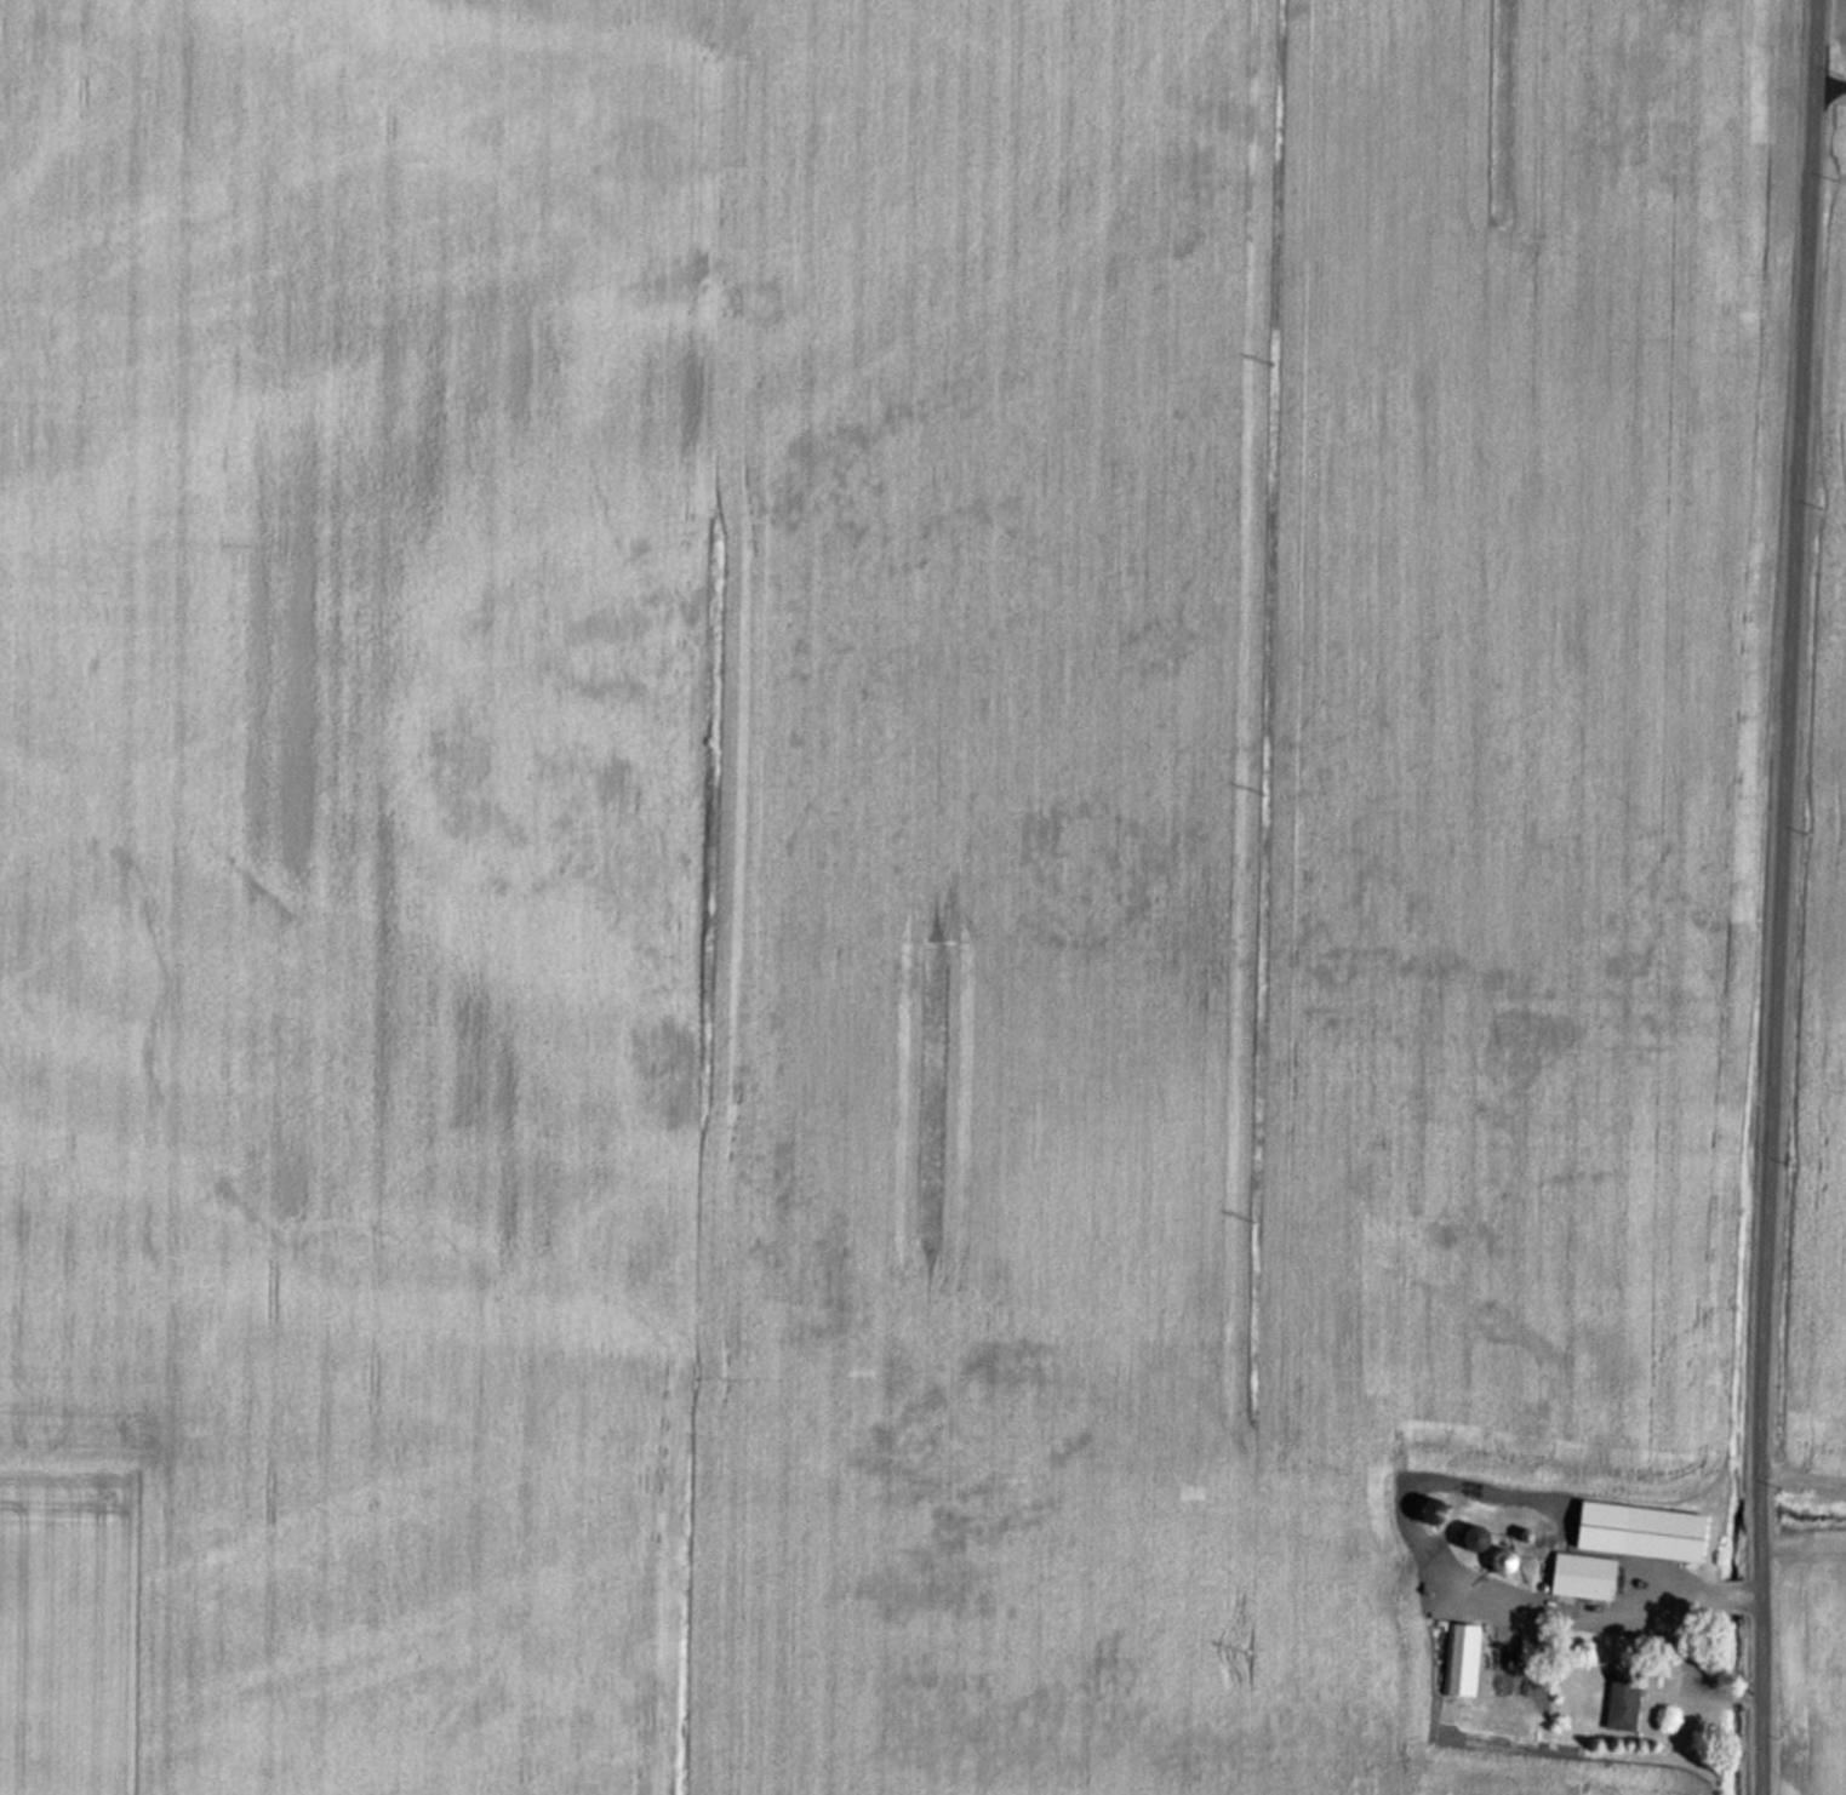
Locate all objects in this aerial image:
road: (1830, 92)
road: (1783, 897)
building: (1668, 1534)
building: (1587, 1576)
building: (1461, 1658)
building: (1625, 1696)

